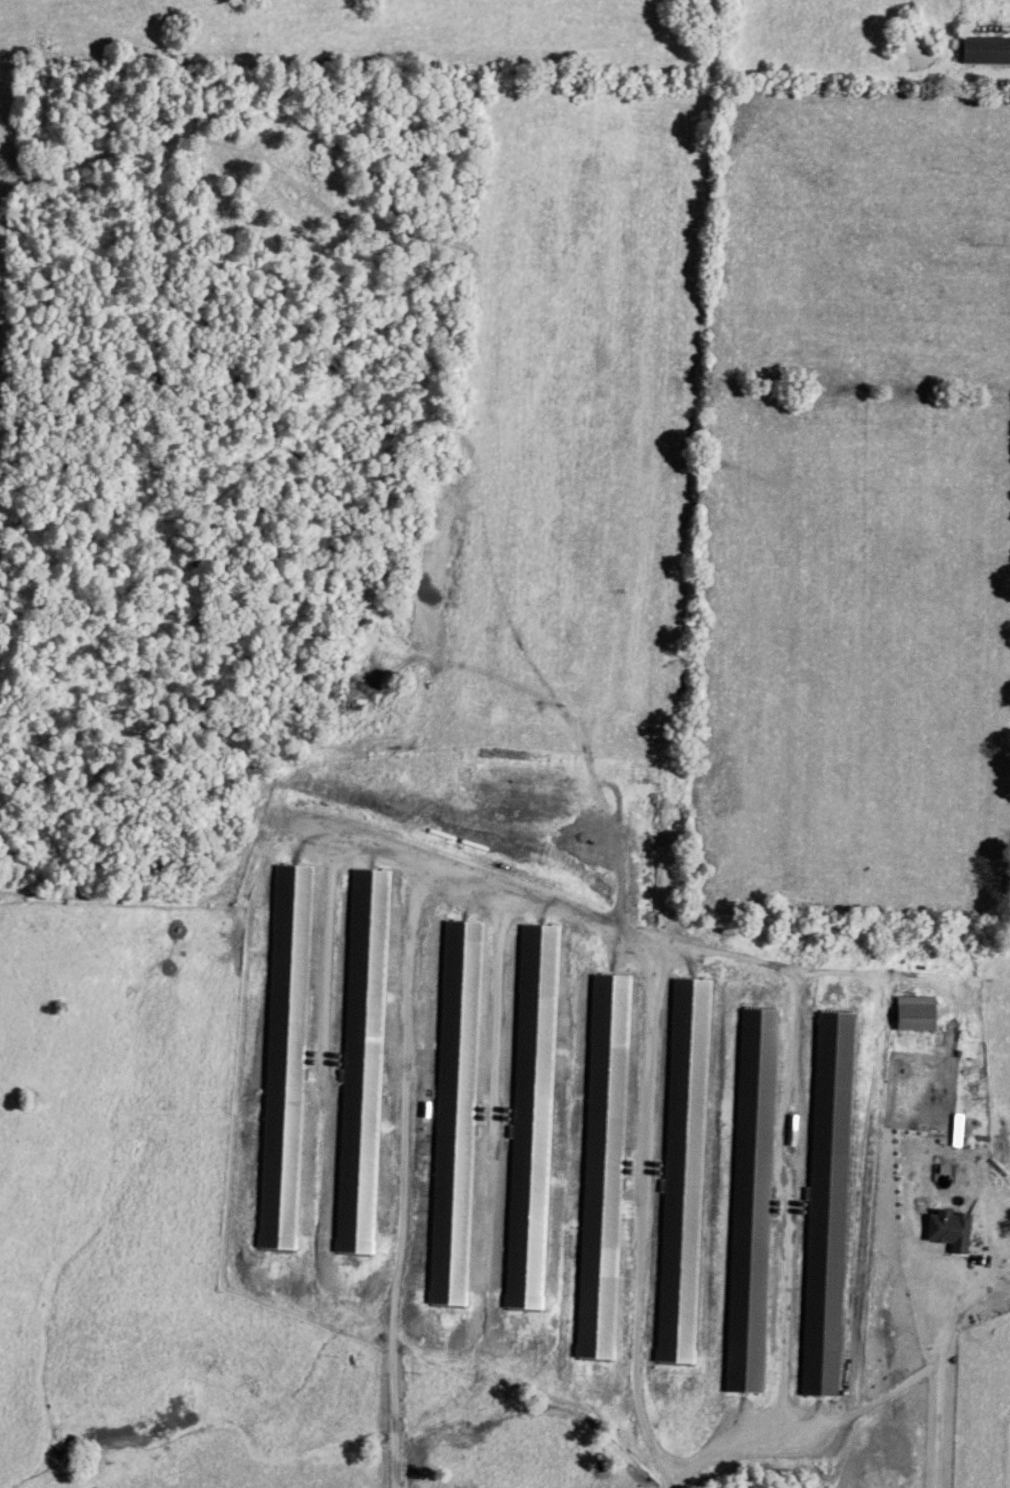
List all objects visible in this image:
road: (644, 1224)
building: (947, 1233)
building: (450, 1322)
road: (429, 1345)
road: (944, 1372)
road: (405, 1456)

